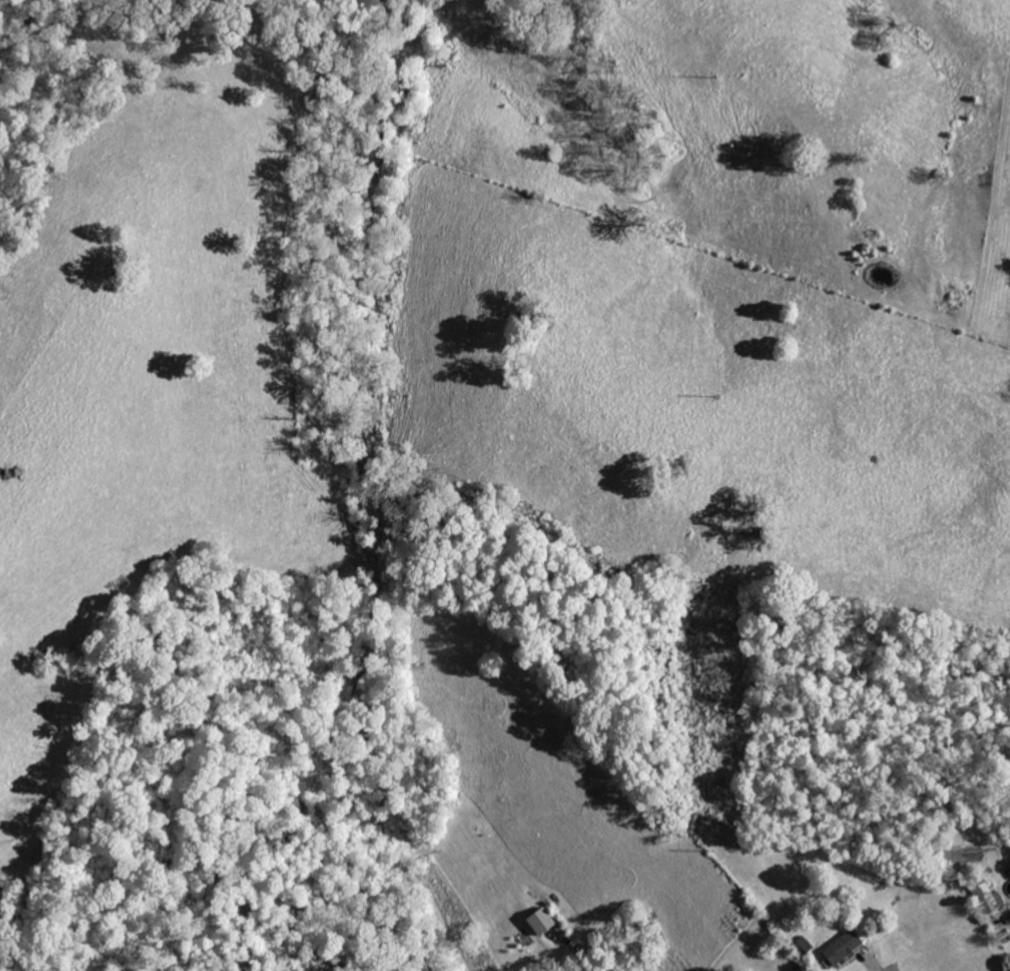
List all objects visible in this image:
building: (986, 898)
road: (1007, 915)
building: (546, 921)
building: (804, 944)
building: (841, 947)
road: (872, 962)

